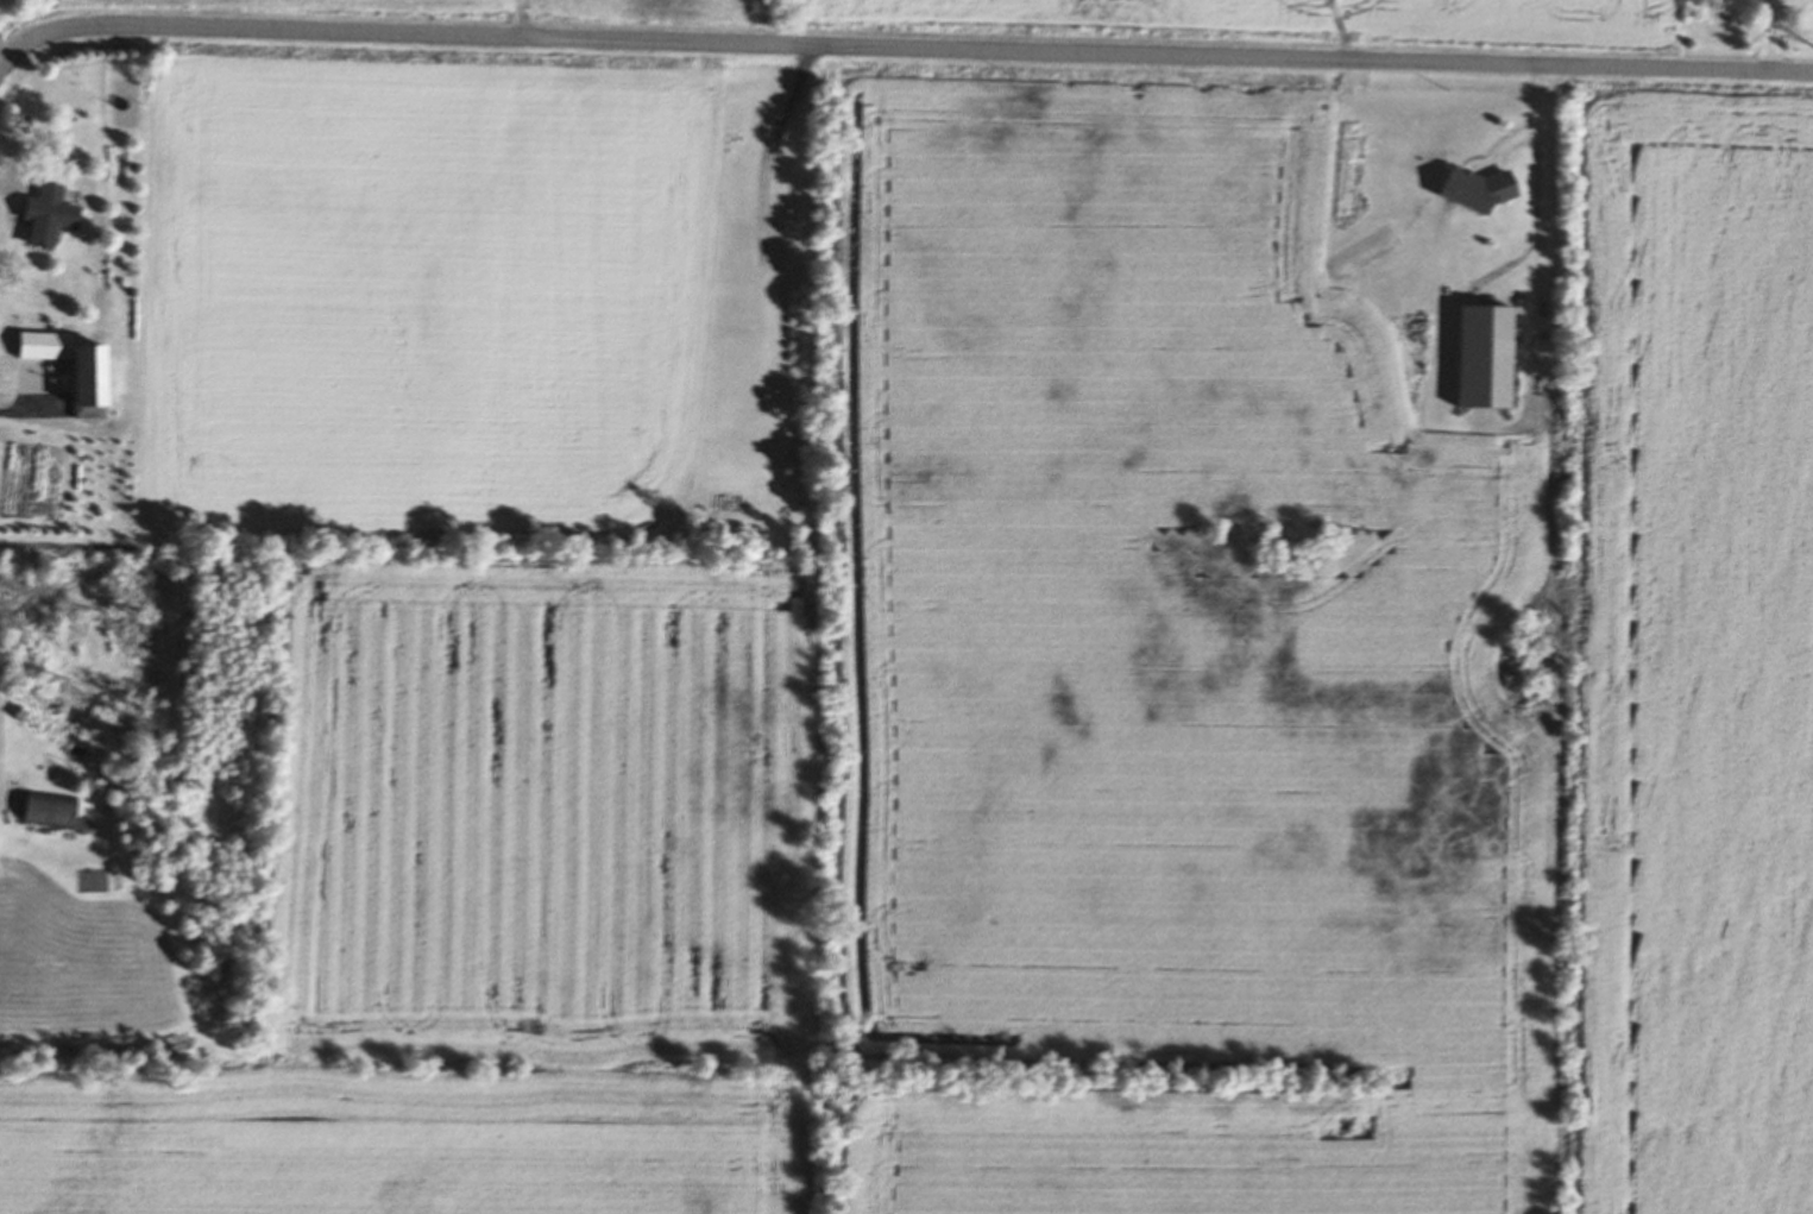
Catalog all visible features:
road: (900, 50)
road: (1546, 196)
building: (49, 216)
building: (49, 346)
building: (96, 380)
road: (29, 410)
building: (52, 811)

